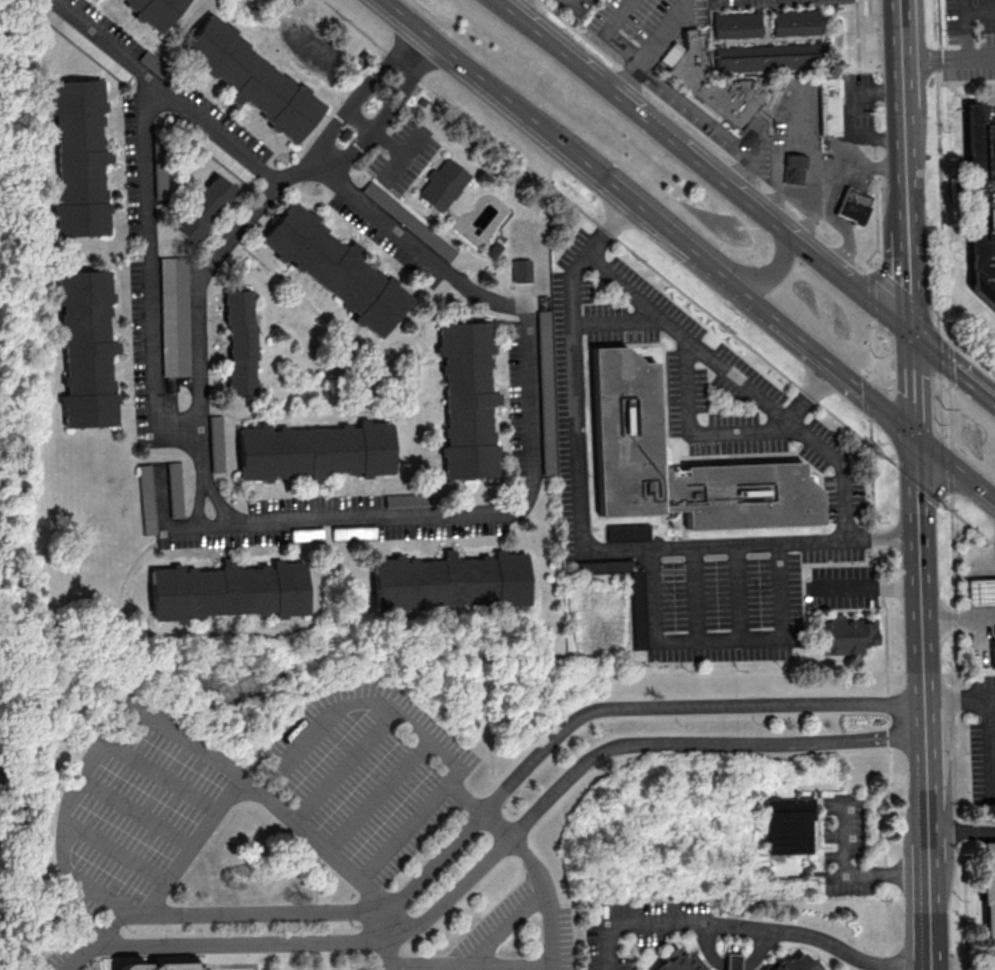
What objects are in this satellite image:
parking lot: (590, 1)
parking lot: (767, 2)
road: (515, 5)
road: (571, 5)
building: (154, 12)
road: (981, 13)
building: (793, 23)
building: (735, 26)
road: (968, 29)
road: (662, 30)
road: (605, 33)
road: (857, 44)
road: (948, 60)
building: (764, 62)
road: (626, 77)
building: (253, 79)
road: (902, 84)
building: (714, 86)
road: (361, 93)
road: (501, 93)
road: (181, 104)
building: (826, 106)
parking lot: (690, 111)
road: (692, 112)
road: (849, 112)
road: (384, 114)
road: (701, 131)
road: (372, 136)
road: (802, 147)
parking lot: (402, 156)
road: (402, 157)
building: (80, 158)
road: (748, 160)
road: (940, 165)
road: (704, 168)
building: (791, 169)
building: (442, 184)
road: (827, 186)
building: (980, 201)
road: (799, 205)
building: (851, 206)
building: (202, 207)
road: (876, 209)
road: (448, 212)
road: (443, 223)
road: (662, 227)
road: (609, 234)
building: (491, 249)
road: (910, 252)
road: (484, 258)
building: (336, 270)
building: (520, 270)
road: (759, 275)
road: (147, 276)
parking lot: (165, 277)
road: (725, 279)
road: (195, 289)
road: (872, 294)
road: (307, 295)
road: (902, 295)
road: (431, 305)
building: (173, 316)
road: (617, 321)
building: (543, 322)
traffic signals: (913, 337)
building: (242, 341)
road: (397, 344)
road: (963, 345)
road: (871, 348)
building: (86, 349)
road: (946, 355)
road: (432, 360)
road: (828, 366)
park: (350, 368)
road: (954, 369)
parking lot: (701, 376)
road: (742, 383)
road: (914, 388)
building: (468, 399)
road: (873, 403)
road: (372, 413)
building: (625, 413)
road: (948, 413)
road: (726, 430)
road: (434, 438)
traffic signals: (916, 440)
building: (215, 443)
building: (318, 450)
road: (952, 470)
road: (955, 470)
road: (206, 477)
road: (919, 482)
road: (529, 488)
building: (174, 489)
building: (145, 499)
road: (967, 522)
building: (627, 531)
building: (353, 532)
road: (580, 532)
building: (306, 534)
road: (989, 561)
parking lot: (691, 572)
building: (452, 582)
road: (865, 586)
road: (879, 586)
building: (230, 591)
road: (738, 591)
building: (979, 591)
road: (693, 593)
building: (637, 610)
road: (116, 611)
road: (958, 618)
building: (840, 635)
road: (717, 640)
road: (525, 654)
building: (991, 656)
road: (924, 704)
road: (991, 711)
road: (960, 732)
road: (416, 736)
building: (0, 760)
road: (889, 764)
road: (343, 770)
road: (168, 773)
parking lot: (363, 779)
road: (374, 798)
road: (497, 799)
parking lot: (140, 810)
road: (142, 810)
building: (790, 826)
road: (961, 831)
road: (505, 839)
road: (69, 841)
parking lot: (843, 843)
road: (119, 844)
road: (531, 861)
road: (335, 863)
road: (883, 872)
road: (890, 875)
building: (986, 889)
road: (40, 891)
road: (633, 924)
parking lot: (637, 927)
road: (500, 928)
road: (764, 935)
parking lot: (499, 940)
parking lot: (69, 945)
road: (652, 948)
road: (807, 948)
road: (240, 952)
road: (76, 957)
building: (733, 961)
building: (684, 962)
building: (801, 964)
road: (496, 966)
building: (154, 967)

